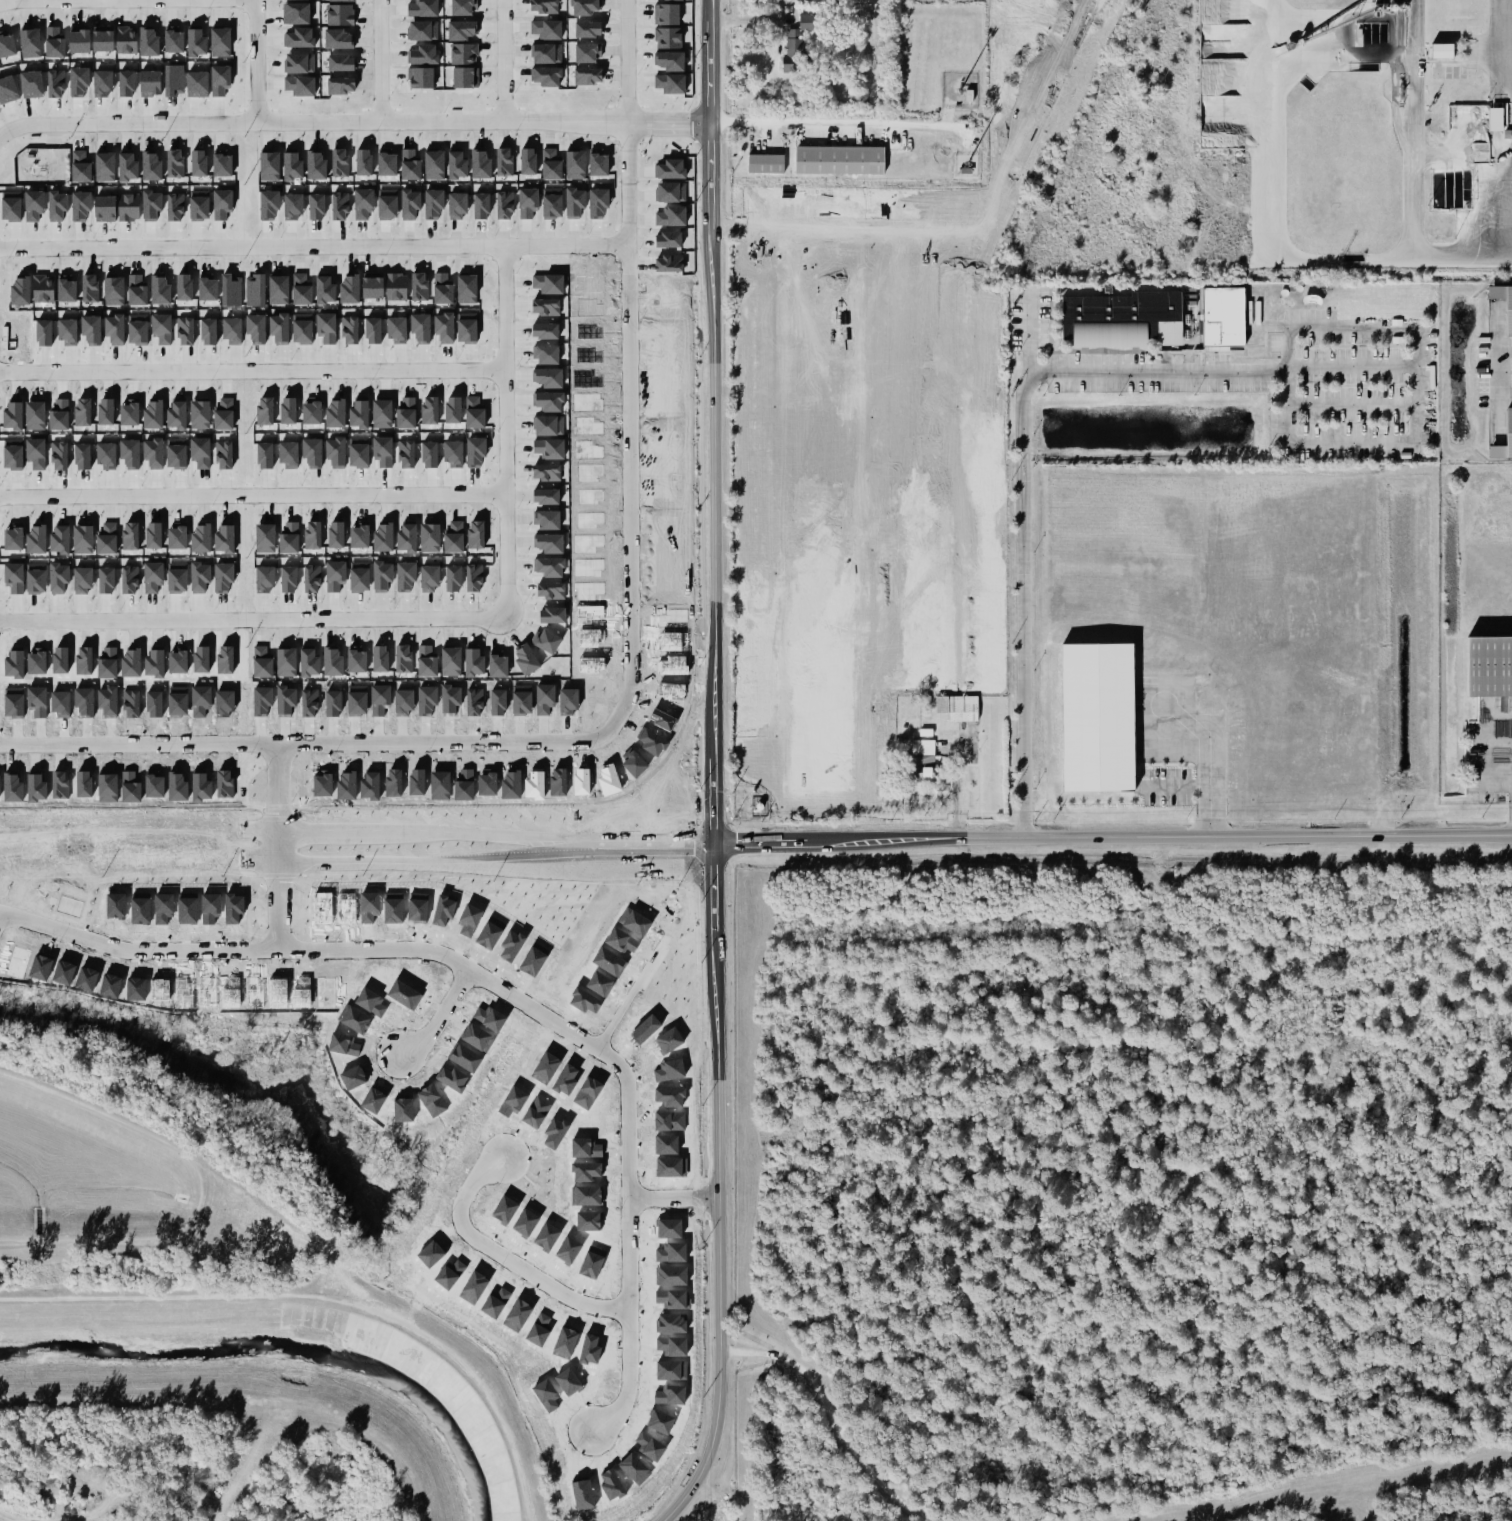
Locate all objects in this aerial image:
road: (66, 0)
building: (340, 0)
building: (668, 0)
building: (543, 6)
building: (461, 7)
building: (584, 7)
building: (422, 8)
building: (296, 13)
building: (666, 13)
building: (339, 14)
building: (546, 28)
building: (588, 28)
building: (461, 29)
building: (422, 30)
building: (300, 37)
building: (668, 37)
building: (102, 38)
building: (173, 38)
building: (338, 38)
building: (79, 39)
building: (126, 39)
building: (148, 40)
building: (195, 40)
building: (54, 41)
building: (220, 41)
building: (30, 42)
building: (7, 44)
building: (794, 44)
building: (1441, 50)
building: (546, 52)
building: (463, 53)
building: (585, 53)
building: (424, 54)
building: (669, 60)
building: (299, 62)
building: (340, 62)
road: (505, 62)
road: (256, 63)
road: (382, 63)
building: (587, 75)
building: (545, 76)
building: (420, 77)
building: (464, 77)
building: (173, 79)
building: (219, 79)
building: (78, 80)
building: (149, 82)
building: (31, 83)
building: (55, 83)
building: (102, 83)
building: (126, 83)
building: (196, 83)
building: (670, 83)
building: (299, 85)
building: (340, 85)
building: (7, 89)
building: (1495, 119)
road: (848, 122)
road: (484, 125)
road: (127, 126)
road: (1415, 129)
road: (1510, 129)
building: (839, 159)
building: (527, 160)
building: (504, 161)
building: (198, 162)
building: (339, 162)
building: (362, 162)
building: (386, 162)
building: (456, 162)
building: (174, 163)
building: (410, 163)
building: (480, 163)
building: (551, 163)
building: (765, 163)
building: (128, 164)
building: (151, 164)
building: (222, 164)
building: (315, 164)
building: (574, 164)
building: (597, 164)
building: (269, 165)
building: (292, 165)
building: (433, 165)
building: (80, 166)
building: (104, 166)
building: (671, 169)
building: (671, 191)
building: (574, 201)
building: (527, 202)
building: (551, 202)
building: (597, 202)
building: (221, 203)
building: (362, 203)
building: (386, 203)
building: (409, 203)
building: (151, 204)
building: (269, 204)
building: (433, 204)
building: (504, 204)
building: (10, 205)
building: (33, 205)
building: (57, 205)
building: (80, 205)
building: (198, 205)
building: (292, 205)
building: (339, 205)
building: (456, 205)
building: (481, 205)
building: (128, 206)
building: (174, 206)
building: (316, 206)
building: (104, 208)
building: (670, 216)
building: (668, 239)
road: (313, 248)
road: (1388, 258)
building: (668, 263)
building: (547, 283)
building: (372, 285)
building: (183, 286)
building: (207, 286)
building: (395, 286)
building: (419, 286)
building: (672, 286)
building: (66, 287)
building: (89, 287)
building: (442, 287)
building: (43, 288)
building: (136, 288)
building: (159, 288)
building: (301, 288)
building: (20, 289)
building: (113, 289)
building: (278, 289)
building: (324, 289)
building: (349, 289)
building: (466, 289)
building: (231, 290)
building: (254, 290)
building: (545, 306)
building: (1501, 307)
building: (672, 309)
building: (1126, 316)
building: (1227, 316)
building: (278, 327)
building: (302, 327)
building: (326, 327)
building: (420, 327)
building: (444, 327)
building: (466, 327)
building: (114, 328)
building: (161, 328)
building: (256, 328)
building: (396, 328)
building: (137, 329)
building: (349, 329)
building: (91, 330)
building: (185, 330)
building: (231, 330)
building: (372, 330)
building: (544, 330)
building: (67, 331)
building: (208, 331)
building: (23, 332)
building: (43, 332)
road: (1505, 351)
building: (545, 353)
road: (252, 371)
road: (1499, 371)
building: (822, 375)
building: (547, 377)
road: (1505, 392)
building: (548, 400)
road: (1351, 403)
building: (315, 408)
building: (431, 409)
building: (456, 409)
building: (266, 410)
building: (290, 410)
building: (408, 410)
building: (85, 411)
building: (109, 411)
building: (132, 411)
building: (339, 411)
building: (385, 411)
building: (156, 412)
building: (180, 412)
building: (363, 412)
building: (61, 413)
building: (226, 413)
building: (477, 413)
building: (38, 414)
building: (202, 414)
building: (15, 415)
building: (548, 425)
road: (506, 428)
road: (1416, 429)
building: (1501, 436)
building: (547, 448)
building: (479, 450)
building: (385, 451)
building: (315, 452)
building: (338, 452)
building: (360, 452)
building: (15, 453)
building: (156, 453)
building: (179, 453)
building: (204, 453)
building: (409, 453)
building: (132, 454)
building: (226, 454)
building: (432, 454)
building: (456, 454)
building: (39, 455)
building: (109, 455)
building: (268, 455)
building: (291, 455)
building: (62, 456)
building: (85, 456)
building: (546, 472)
road: (1020, 478)
road: (254, 495)
building: (545, 495)
building: (547, 520)
building: (479, 532)
building: (337, 533)
building: (315, 534)
building: (362, 534)
building: (130, 535)
building: (153, 535)
building: (386, 535)
building: (456, 535)
building: (13, 536)
building: (176, 536)
building: (224, 536)
building: (432, 536)
building: (200, 537)
building: (409, 537)
building: (35, 538)
building: (82, 538)
building: (106, 538)
building: (266, 538)
building: (292, 538)
building: (59, 539)
building: (549, 542)
building: (548, 566)
building: (385, 575)
building: (410, 575)
building: (339, 576)
building: (362, 576)
building: (179, 577)
building: (203, 577)
building: (227, 577)
building: (432, 577)
building: (15, 578)
building: (37, 578)
building: (156, 578)
building: (268, 578)
building: (291, 578)
building: (315, 578)
building: (456, 578)
building: (478, 578)
building: (63, 579)
building: (131, 579)
building: (85, 580)
building: (110, 580)
building: (550, 590)
building: (551, 614)
road: (250, 620)
building: (546, 640)
building: (403, 657)
building: (379, 658)
building: (180, 659)
building: (204, 659)
building: (227, 659)
building: (355, 659)
building: (526, 659)
building: (39, 660)
building: (63, 660)
building: (86, 660)
building: (332, 661)
building: (426, 661)
building: (450, 661)
building: (109, 662)
building: (134, 662)
building: (158, 662)
building: (263, 662)
building: (286, 662)
building: (308, 662)
building: (473, 662)
building: (17, 664)
building: (497, 666)
building: (1490, 669)
road: (629, 672)
building: (830, 693)
building: (548, 698)
building: (383, 699)
building: (453, 699)
building: (39, 700)
building: (359, 700)
building: (525, 700)
building: (571, 700)
building: (87, 701)
building: (180, 701)
building: (203, 701)
building: (432, 701)
building: (500, 701)
building: (227, 702)
building: (266, 702)
building: (290, 702)
building: (407, 702)
building: (477, 702)
building: (16, 703)
building: (155, 703)
building: (336, 703)
building: (63, 704)
building: (110, 704)
building: (133, 704)
building: (312, 704)
building: (956, 708)
building: (1102, 717)
road: (1205, 759)
building: (922, 760)
road: (719, 768)
road: (1178, 786)
road: (953, 792)
road: (275, 803)
road: (1115, 838)
road: (561, 846)
road: (641, 846)
road: (277, 906)
road: (136, 950)
road: (470, 971)
road: (439, 1019)
road: (629, 1141)
road: (675, 1200)
road: (505, 1260)
building: (495, 1302)
building: (517, 1315)
road: (629, 1323)
building: (539, 1329)
building: (565, 1342)
building: (589, 1349)
building: (567, 1381)
building: (546, 1394)
building: (670, 1394)
road: (830, 1414)
building: (660, 1421)
building: (650, 1445)
building: (634, 1468)
building: (612, 1485)
building: (582, 1494)

